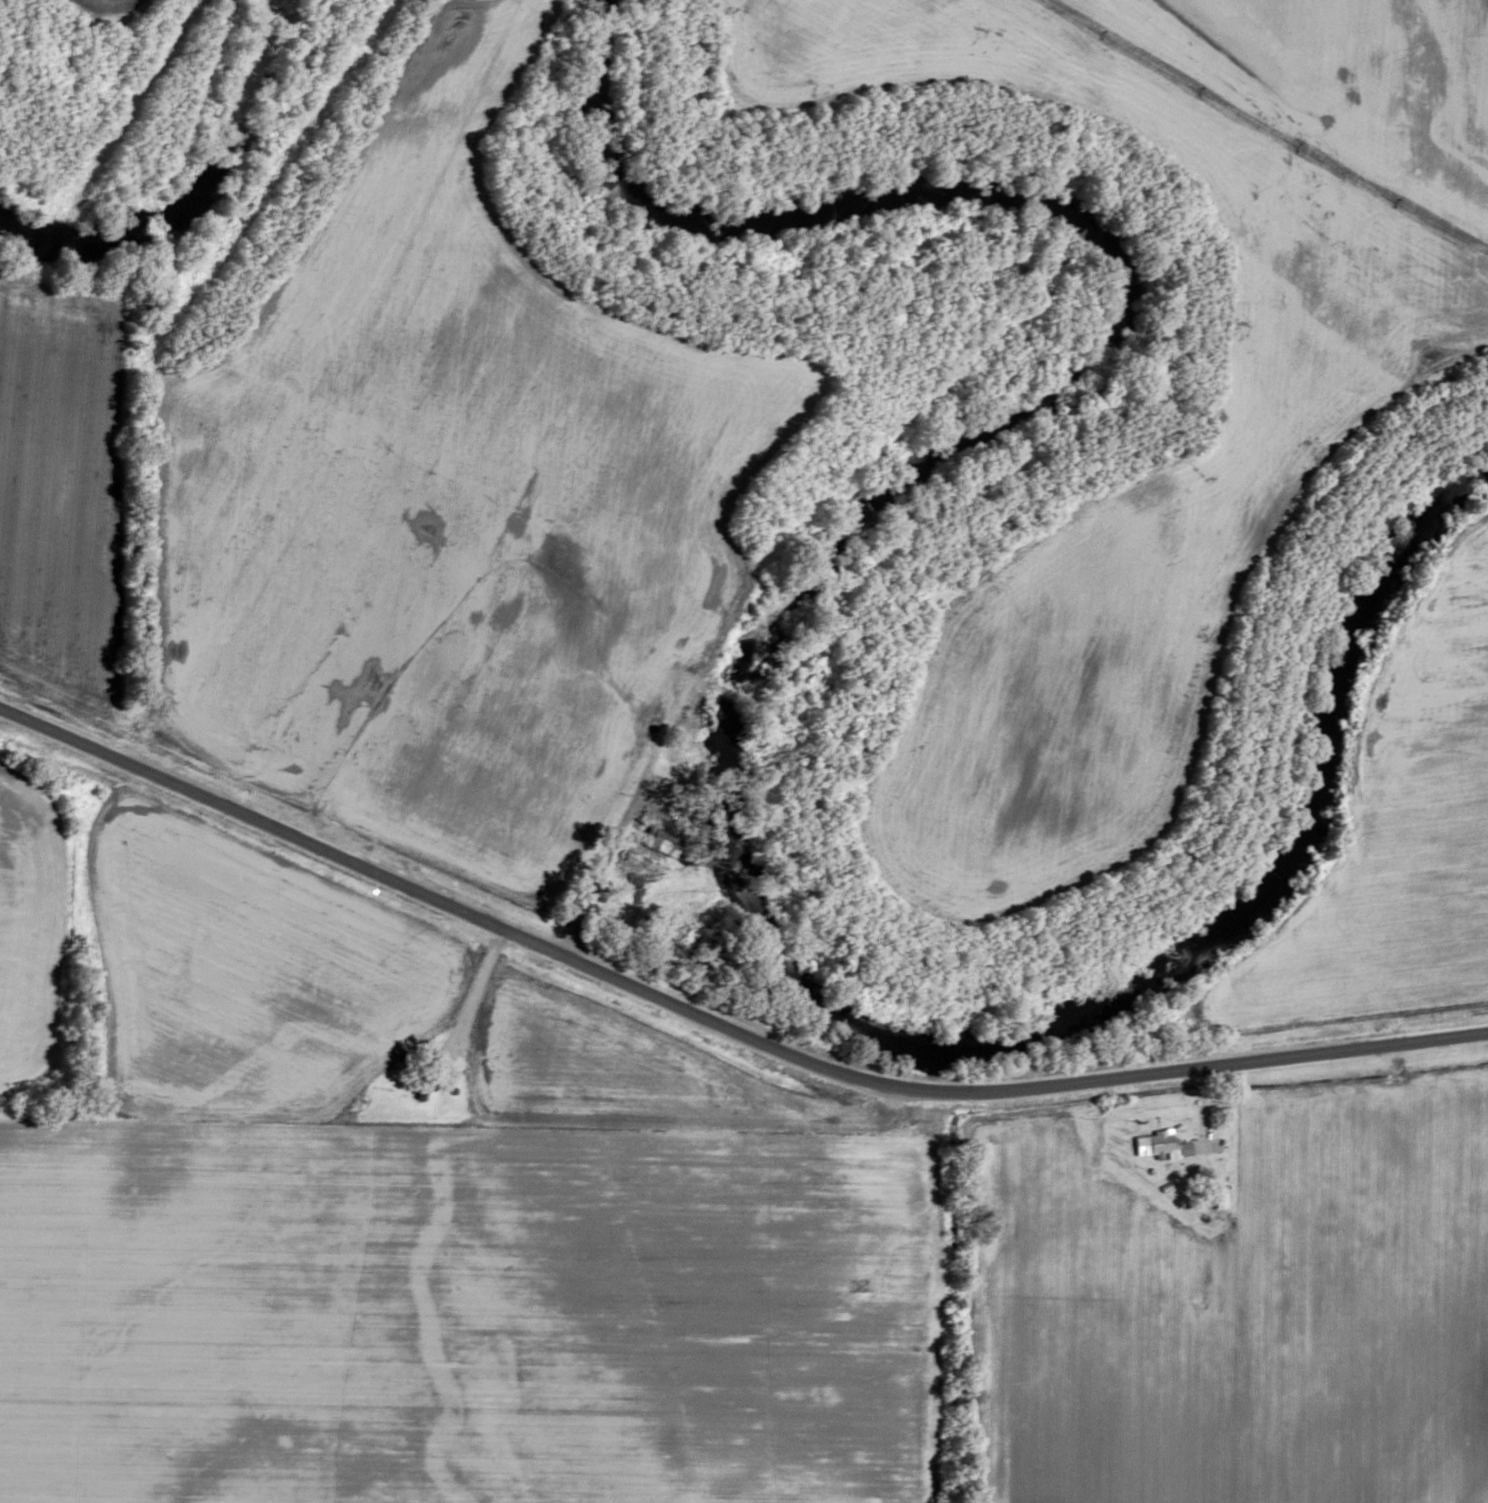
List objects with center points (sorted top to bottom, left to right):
road: (1296, 108)
road: (645, 754)
road: (466, 995)
road: (717, 1027)
building: (1158, 1144)

